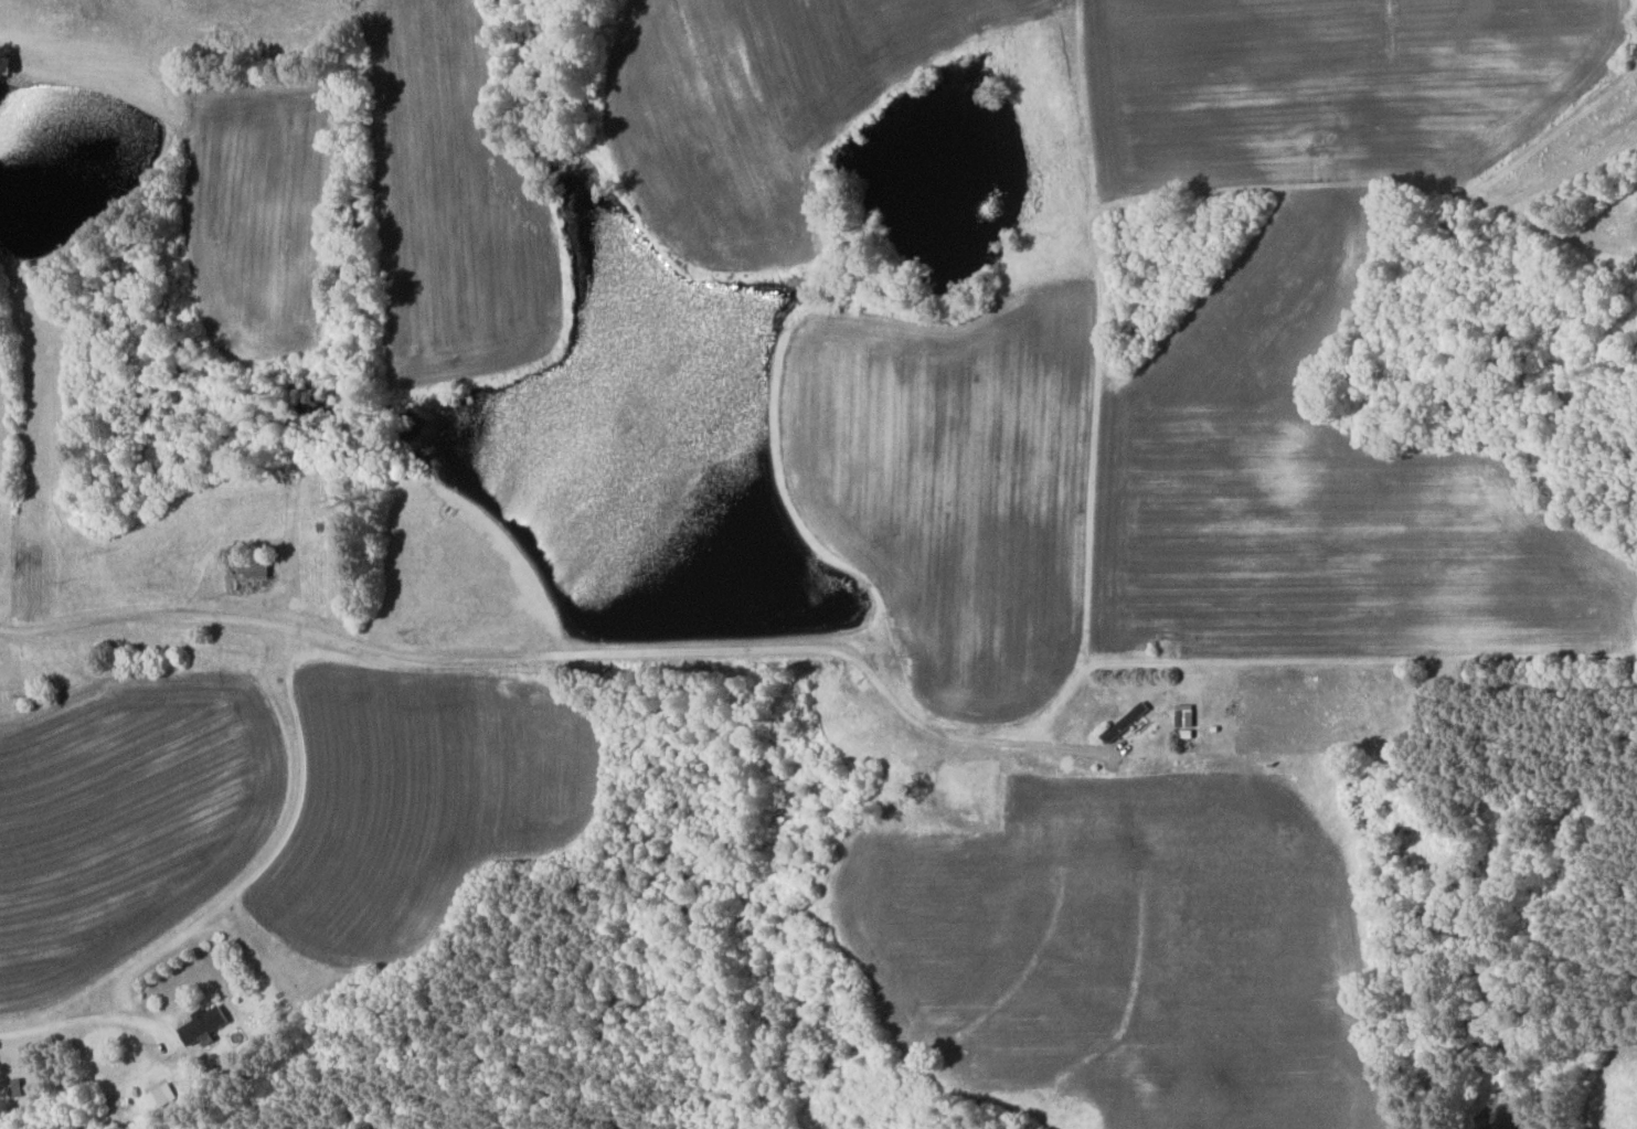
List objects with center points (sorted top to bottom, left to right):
building: (256, 572)
road: (896, 705)
building: (1187, 720)
building: (1126, 724)
road: (81, 1018)
building: (205, 1025)
building: (162, 1096)

